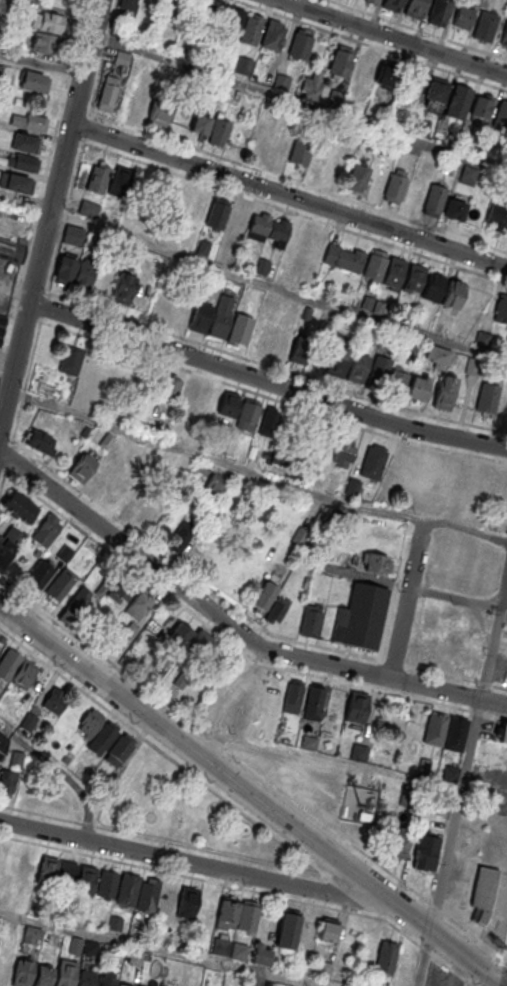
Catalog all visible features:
building: (371, 1)
building: (127, 4)
building: (148, 4)
building: (392, 5)
building: (175, 8)
building: (414, 8)
building: (208, 12)
building: (439, 12)
building: (463, 18)
building: (47, 21)
building: (232, 21)
building: (485, 27)
building: (251, 29)
road: (418, 29)
building: (272, 35)
road: (394, 36)
building: (504, 37)
building: (45, 42)
building: (300, 44)
road: (372, 45)
building: (121, 58)
building: (340, 62)
road: (41, 63)
building: (243, 65)
building: (1, 68)
building: (364, 68)
building: (386, 77)
building: (280, 81)
building: (35, 82)
building: (312, 85)
building: (108, 92)
building: (435, 94)
building: (334, 97)
building: (458, 101)
road: (299, 104)
building: (141, 106)
building: (359, 106)
building: (481, 106)
building: (159, 111)
building: (501, 113)
building: (29, 122)
building: (200, 123)
building: (419, 127)
building: (218, 131)
building: (25, 142)
building: (300, 152)
building: (344, 154)
building: (318, 161)
building: (26, 162)
road: (243, 164)
building: (468, 175)
building: (356, 176)
building: (97, 177)
building: (120, 181)
building: (16, 183)
building: (395, 186)
road: (288, 196)
building: (178, 199)
building: (434, 199)
building: (88, 208)
building: (455, 209)
road: (49, 210)
road: (294, 211)
building: (216, 214)
building: (495, 216)
building: (235, 223)
building: (506, 226)
building: (257, 227)
building: (278, 231)
building: (72, 234)
building: (12, 249)
building: (343, 257)
building: (374, 265)
building: (74, 271)
building: (393, 271)
building: (413, 277)
building: (433, 286)
road: (15, 287)
building: (123, 287)
road: (277, 289)
building: (453, 295)
building: (162, 305)
building: (501, 308)
building: (200, 317)
building: (220, 317)
building: (2, 325)
building: (239, 329)
building: (277, 344)
building: (300, 351)
building: (437, 357)
building: (69, 361)
building: (337, 362)
building: (90, 363)
building: (473, 366)
building: (357, 369)
building: (378, 373)
building: (108, 379)
building: (131, 379)
road: (264, 383)
building: (38, 385)
building: (171, 386)
building: (417, 387)
building: (189, 391)
building: (443, 393)
building: (487, 398)
building: (227, 405)
building: (248, 416)
building: (269, 424)
building: (38, 443)
building: (344, 451)
building: (373, 461)
building: (81, 467)
building: (418, 471)
road: (254, 473)
building: (101, 478)
building: (215, 482)
building: (490, 484)
building: (352, 487)
building: (122, 494)
building: (19, 506)
building: (47, 530)
building: (181, 536)
building: (299, 536)
building: (8, 544)
building: (375, 563)
building: (39, 574)
building: (60, 585)
building: (126, 595)
building: (263, 597)
road: (454, 598)
road: (405, 599)
building: (75, 607)
building: (277, 609)
building: (361, 616)
parking lot: (506, 617)
road: (480, 624)
road: (231, 626)
building: (309, 627)
road: (493, 637)
building: (191, 640)
parking lot: (500, 667)
building: (16, 669)
building: (292, 696)
building: (55, 700)
building: (313, 701)
building: (334, 702)
building: (355, 708)
road: (248, 714)
road: (495, 716)
building: (435, 728)
building: (97, 731)
road: (12, 732)
building: (455, 733)
building: (503, 734)
building: (3, 738)
building: (119, 749)
building: (359, 753)
building: (8, 780)
road: (71, 783)
road: (251, 795)
building: (359, 804)
park: (183, 811)
road: (454, 815)
road: (264, 828)
building: (398, 843)
building: (426, 852)
road: (372, 859)
road: (200, 865)
building: (47, 871)
building: (25, 872)
road: (191, 876)
building: (85, 880)
building: (106, 885)
building: (127, 891)
building: (3, 895)
building: (147, 895)
building: (482, 895)
building: (166, 900)
building: (187, 904)
building: (226, 916)
building: (247, 917)
building: (328, 930)
building: (12, 931)
building: (286, 932)
building: (32, 935)
building: (221, 946)
road: (162, 950)
building: (238, 951)
building: (261, 954)
building: (136, 956)
building: (385, 957)
road: (424, 958)
building: (324, 969)
building: (5, 970)
building: (22, 972)
building: (65, 972)
building: (43, 975)
building: (86, 979)
building: (106, 982)
building: (121, 985)

